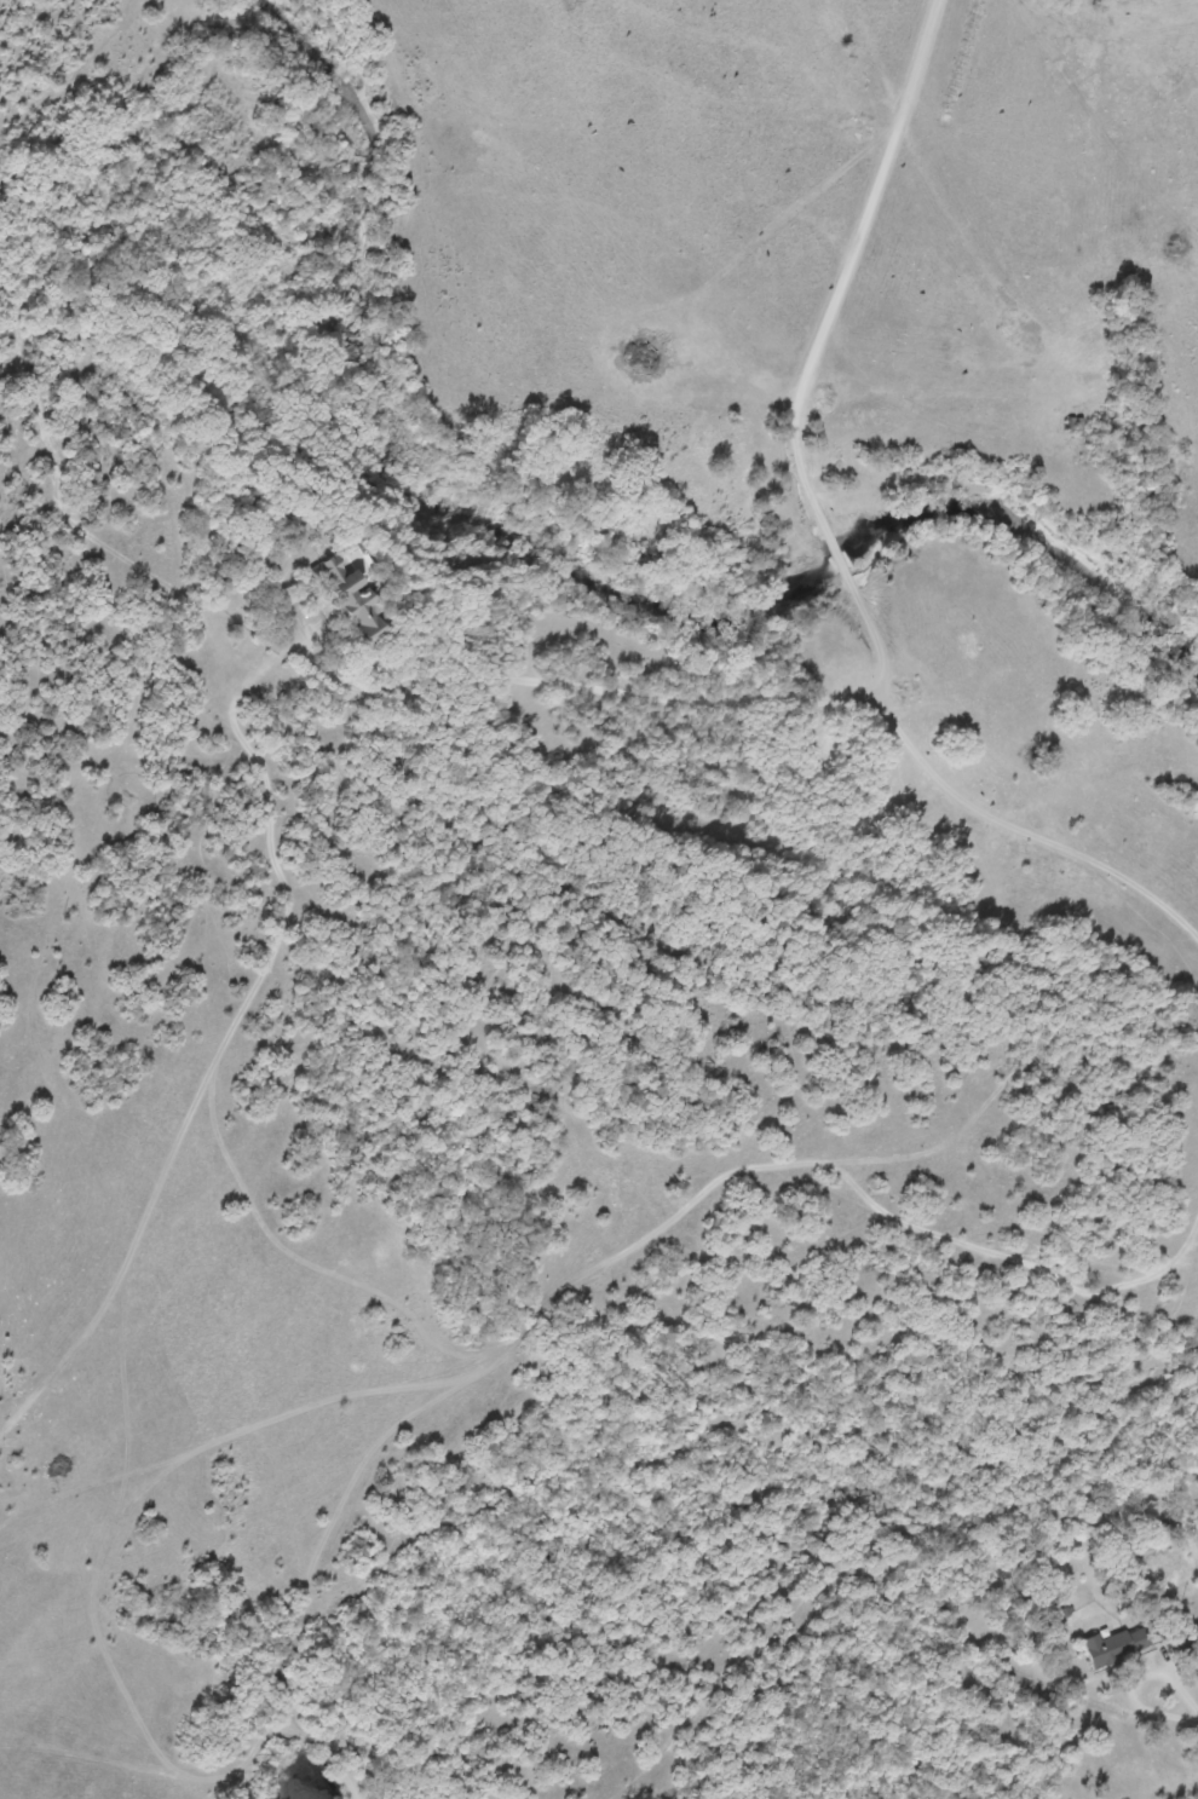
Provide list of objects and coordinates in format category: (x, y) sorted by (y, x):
road: (849, 260)
road: (839, 552)
building: (332, 570)
building: (362, 612)
road: (664, 697)
road: (1077, 1503)
building: (1122, 1642)

